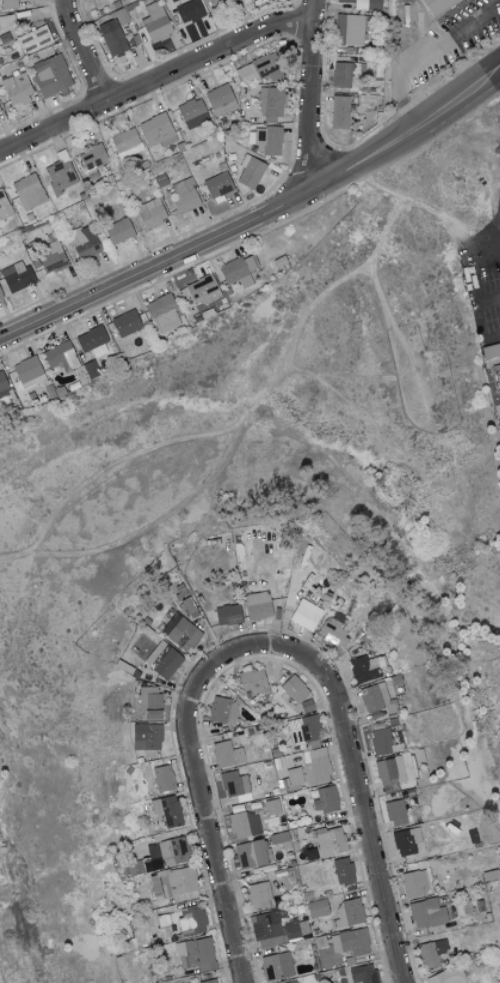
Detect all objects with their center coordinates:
building: (8, 3)
building: (218, 3)
building: (364, 4)
building: (442, 6)
building: (188, 11)
building: (155, 22)
building: (348, 29)
building: (112, 38)
building: (33, 39)
road: (447, 41)
road: (85, 53)
building: (267, 67)
building: (245, 74)
building: (341, 74)
building: (51, 75)
road: (156, 82)
building: (17, 89)
building: (220, 99)
road: (313, 100)
building: (270, 101)
road: (406, 103)
building: (339, 112)
building: (192, 113)
building: (157, 131)
building: (265, 140)
building: (126, 142)
building: (92, 158)
building: (250, 172)
building: (59, 175)
building: (218, 185)
building: (28, 191)
building: (184, 196)
building: (4, 206)
building: (152, 213)
road: (260, 223)
building: (118, 231)
building: (83, 242)
building: (51, 257)
road: (486, 257)
building: (237, 271)
building: (18, 277)
building: (202, 290)
building: (0, 296)
building: (163, 315)
building: (126, 324)
building: (92, 341)
building: (499, 346)
building: (60, 357)
building: (27, 370)
building: (497, 373)
building: (3, 387)
building: (499, 409)
building: (257, 605)
building: (228, 614)
building: (305, 614)
building: (333, 629)
building: (180, 632)
building: (163, 659)
building: (365, 668)
building: (253, 680)
building: (294, 688)
building: (373, 696)
building: (148, 702)
building: (306, 705)
building: (222, 709)
building: (303, 729)
building: (146, 736)
building: (382, 740)
building: (226, 753)
building: (316, 766)
building: (145, 771)
building: (389, 773)
building: (293, 776)
building: (163, 778)
building: (233, 783)
road: (355, 784)
building: (324, 799)
road: (201, 803)
building: (166, 809)
building: (395, 812)
building: (243, 824)
building: (330, 841)
building: (405, 841)
building: (171, 852)
building: (250, 853)
building: (135, 867)
building: (342, 870)
building: (181, 882)
building: (413, 884)
building: (258, 895)
building: (316, 908)
building: (426, 912)
building: (349, 913)
building: (191, 919)
building: (272, 929)
building: (350, 941)
building: (431, 952)
building: (195, 954)
building: (276, 965)
building: (362, 973)
building: (446, 975)
building: (209, 981)
building: (291, 982)

